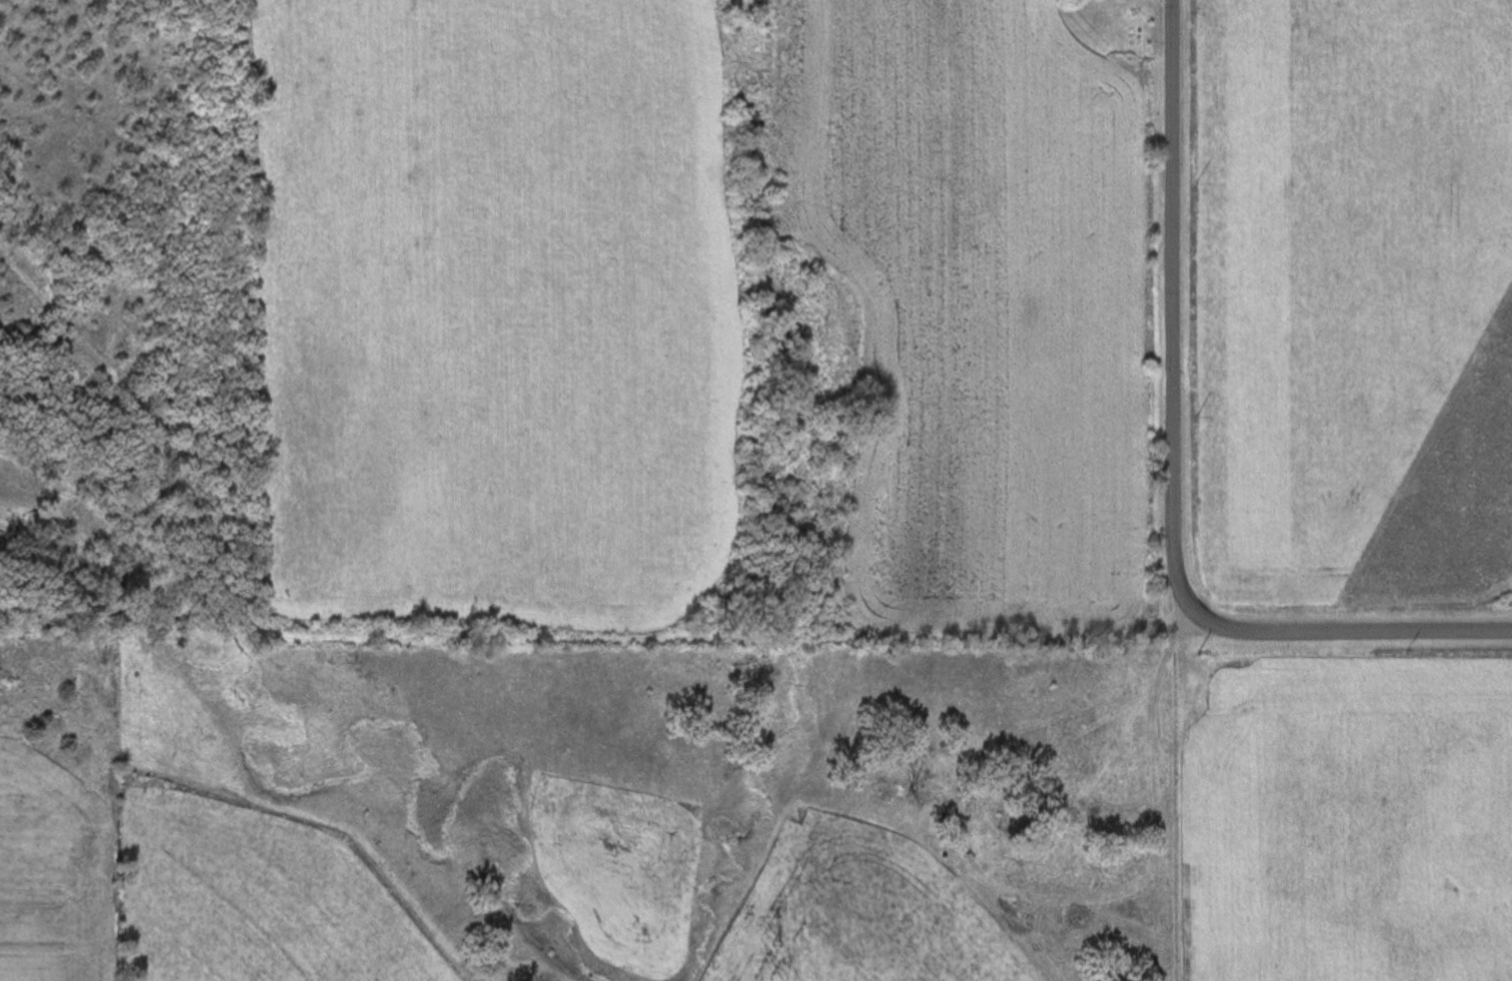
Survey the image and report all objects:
road: (1180, 467)

